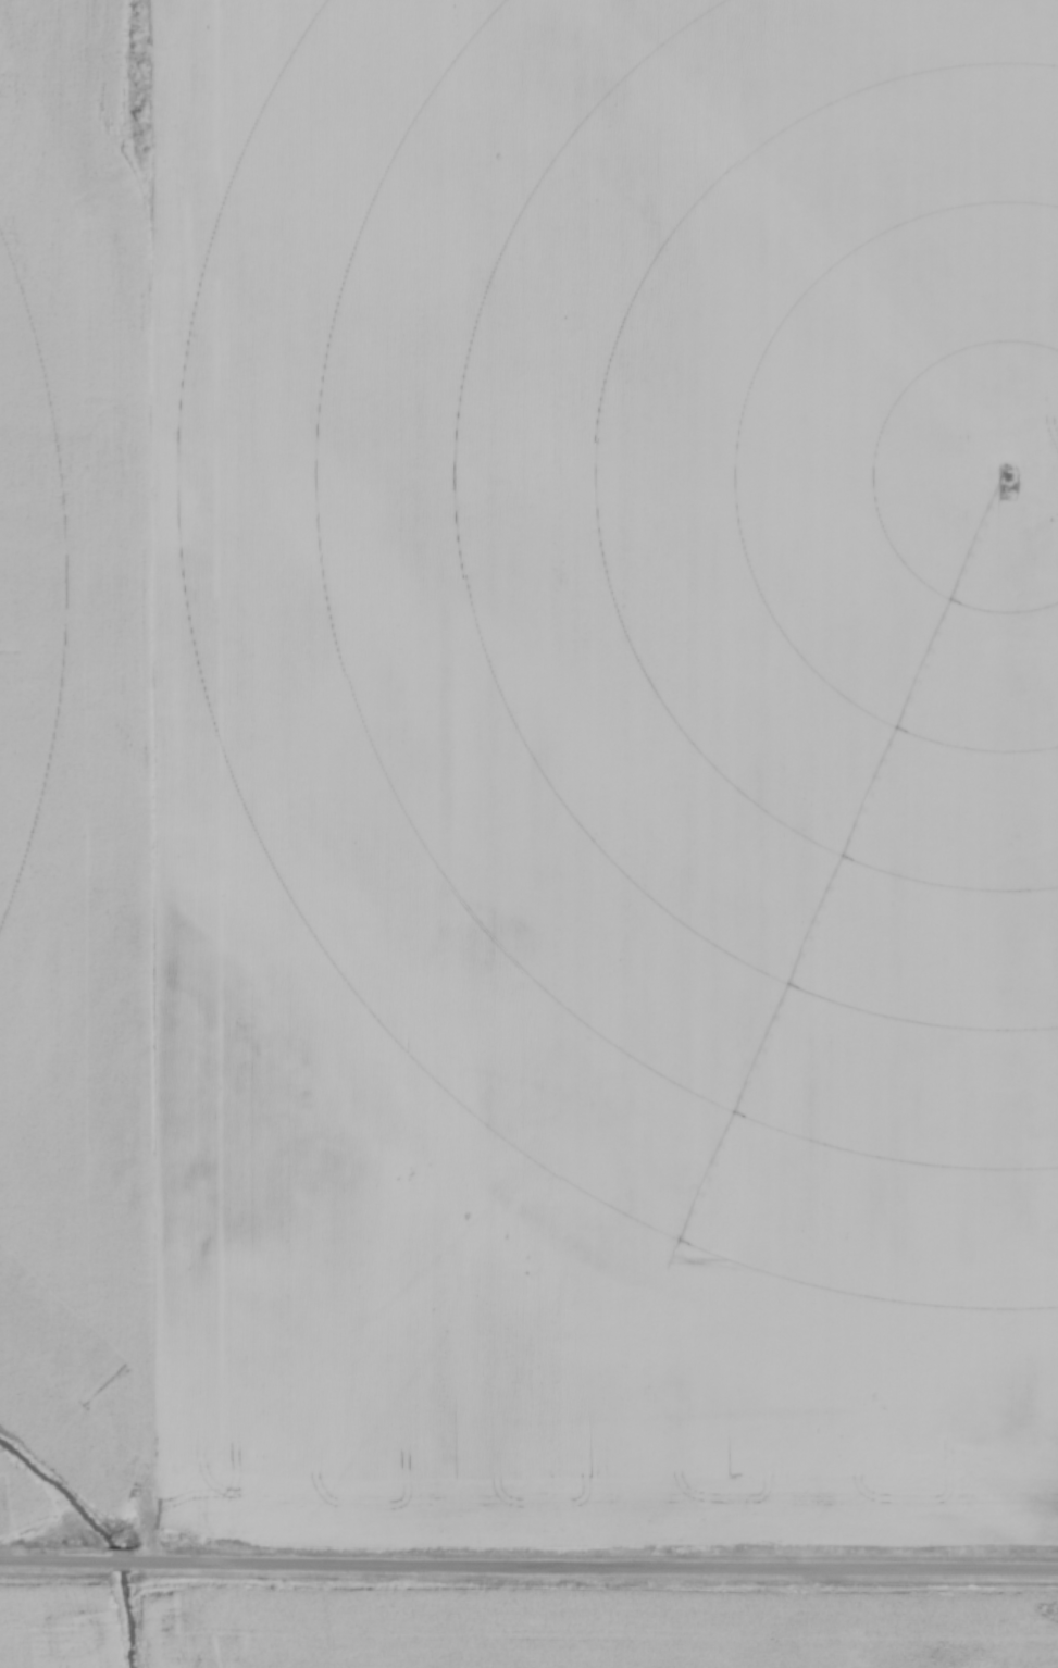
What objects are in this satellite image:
road: (54, 1561)
road: (117, 1561)
road: (590, 1572)

